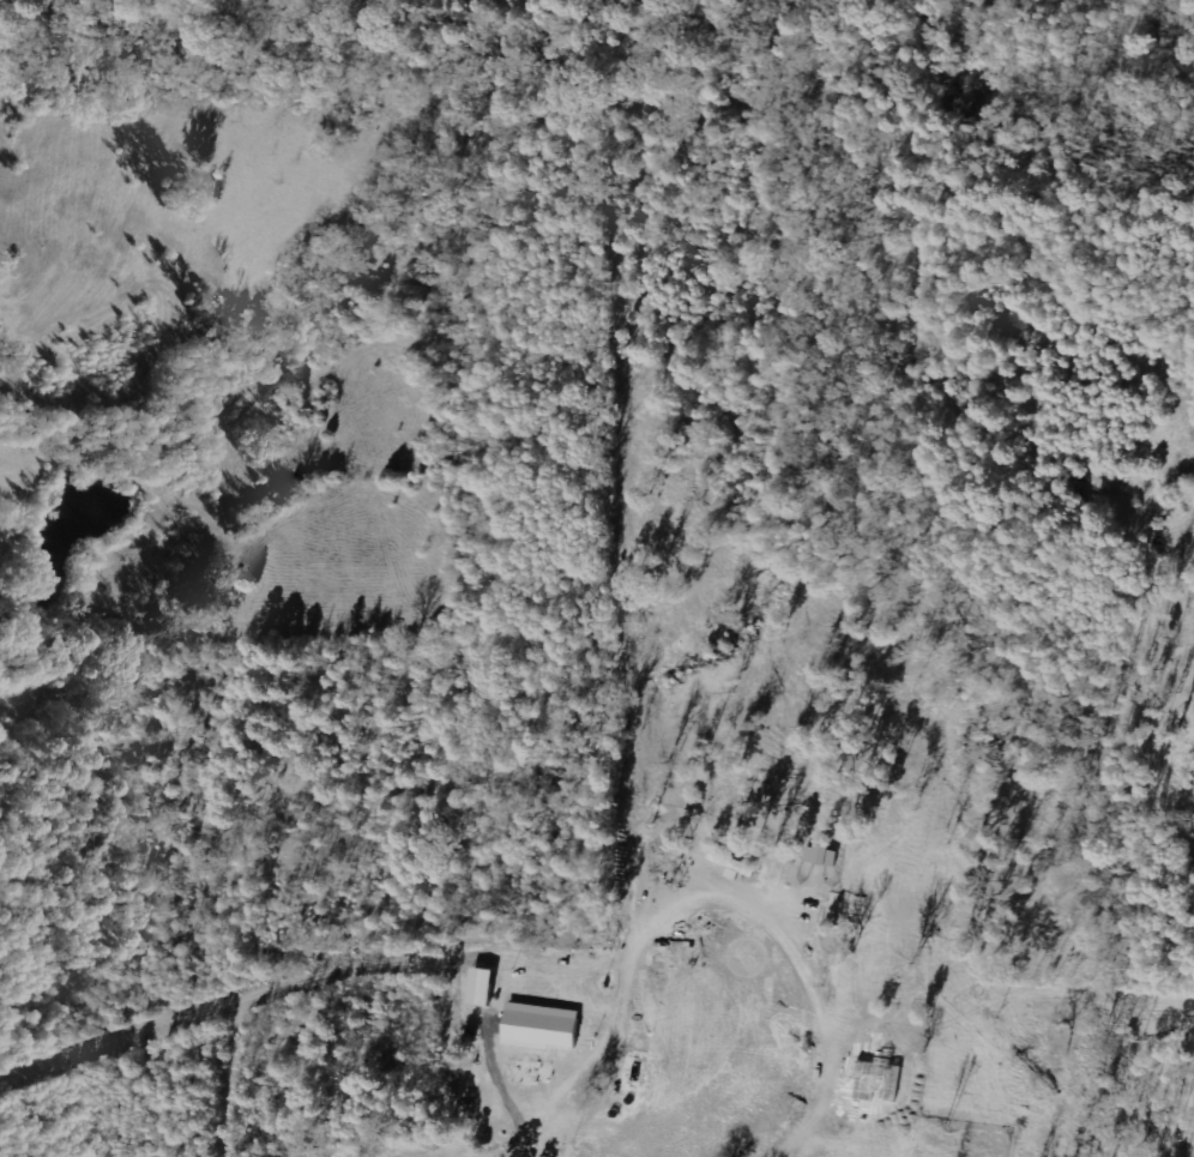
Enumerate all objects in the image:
road: (919, 747)
building: (538, 1026)
road: (1029, 1049)
building: (794, 1156)

